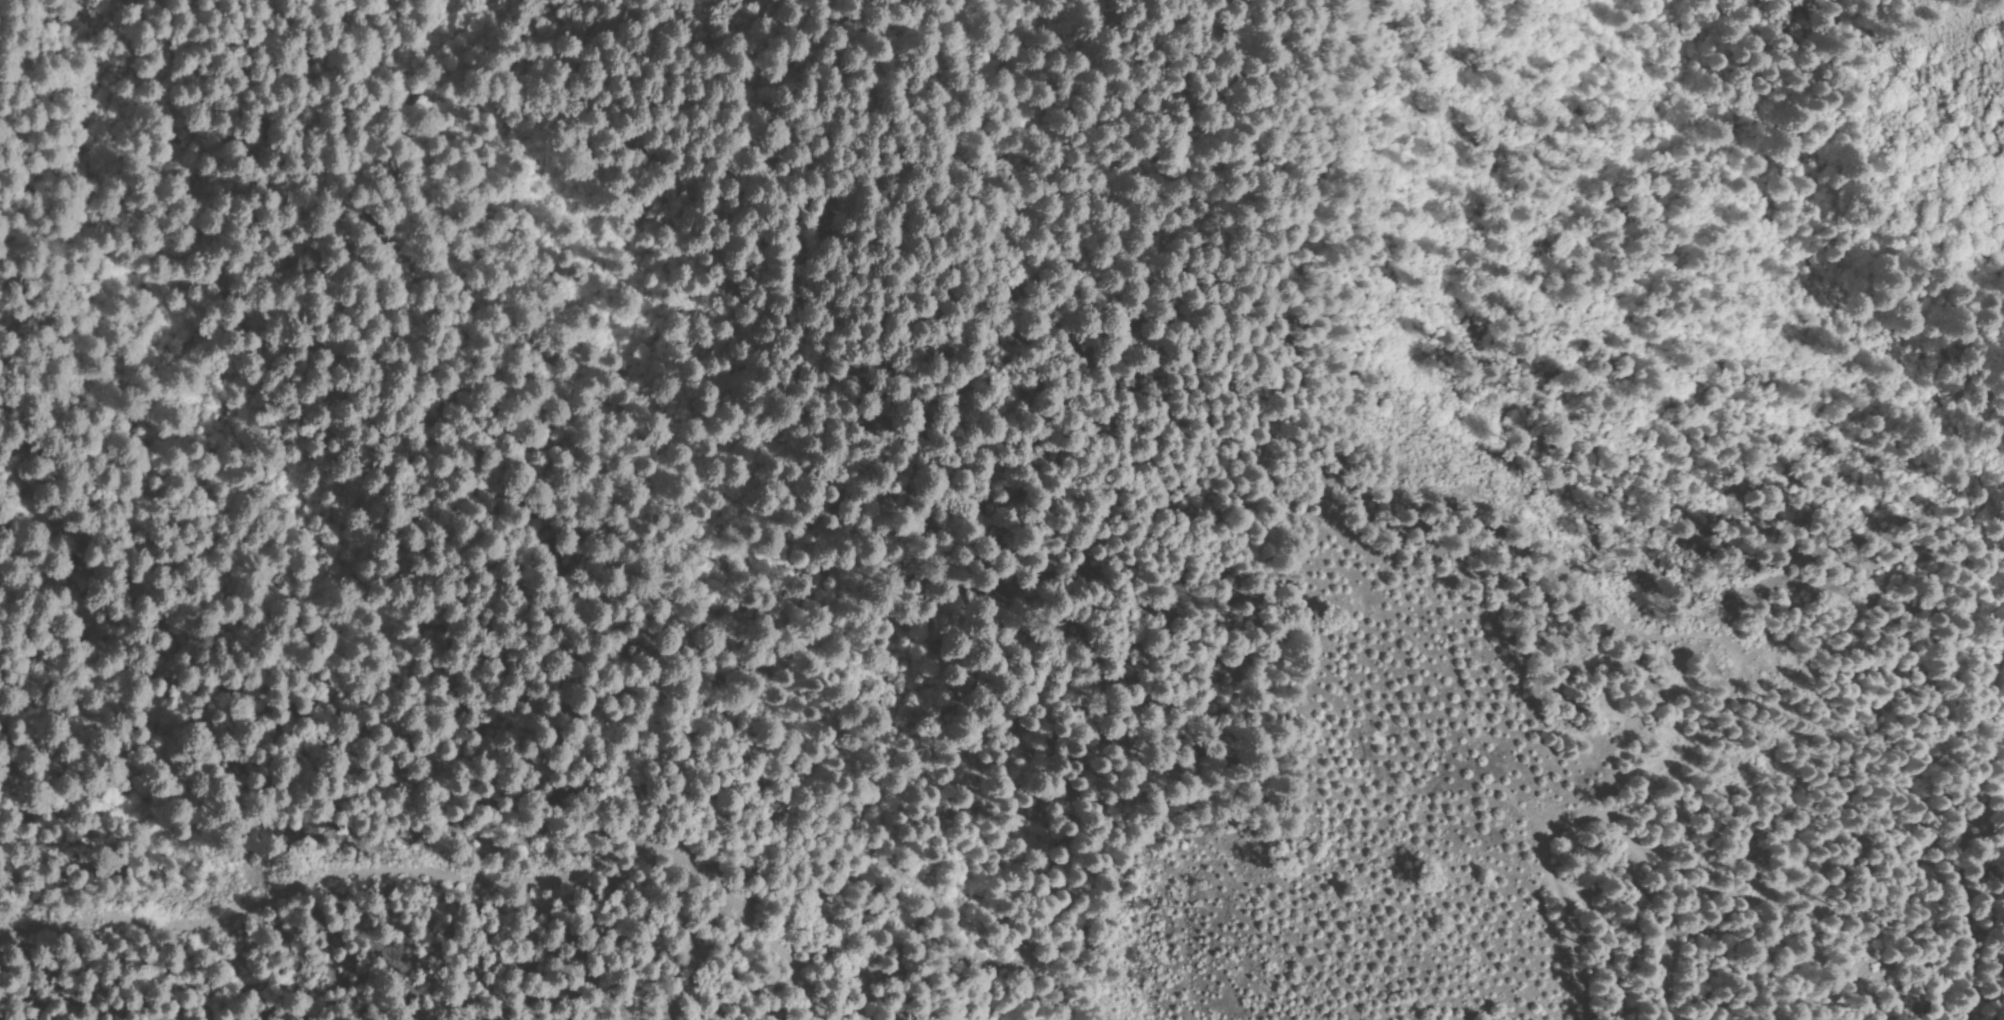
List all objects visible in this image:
road: (1990, 23)
road: (1634, 837)
road: (507, 880)
road: (1975, 905)

